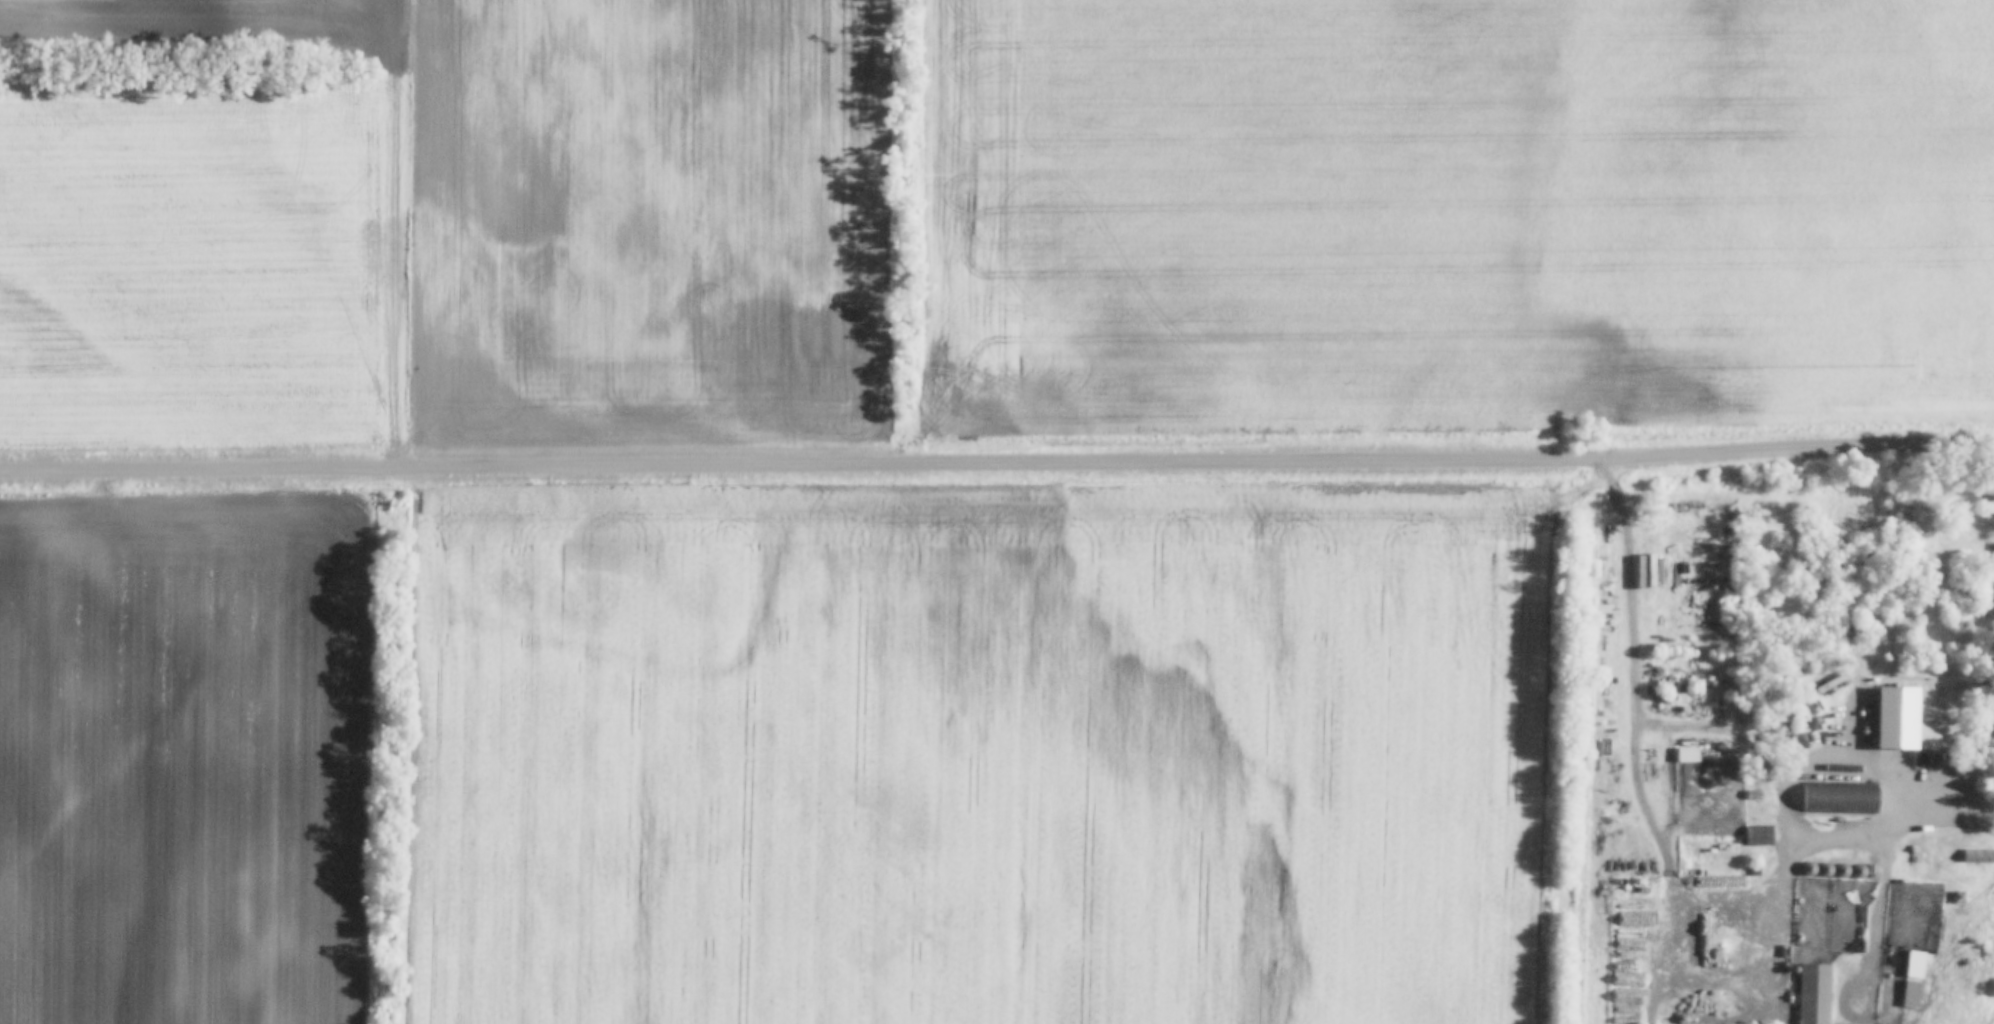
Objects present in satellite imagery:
road: (997, 464)
building: (1992, 550)
building: (1993, 714)
building: (1841, 797)
road: (1903, 829)
building: (1759, 836)
building: (1914, 978)
building: (1815, 993)

